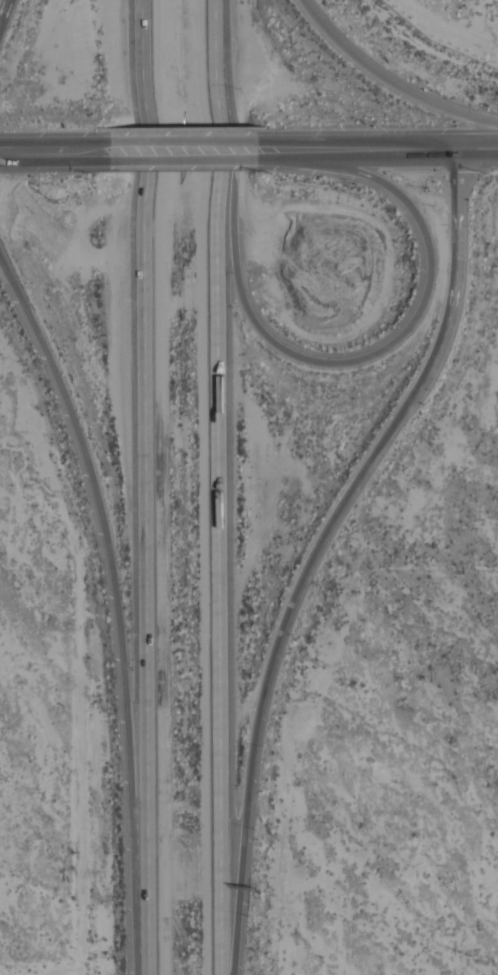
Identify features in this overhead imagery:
road: (2, 7)
wastewater plant: (455, 24)
road: (386, 81)
road: (476, 146)
road: (363, 148)
road: (183, 149)
road: (47, 150)
road: (358, 359)
road: (144, 487)
road: (217, 487)
road: (314, 548)
road: (116, 609)

